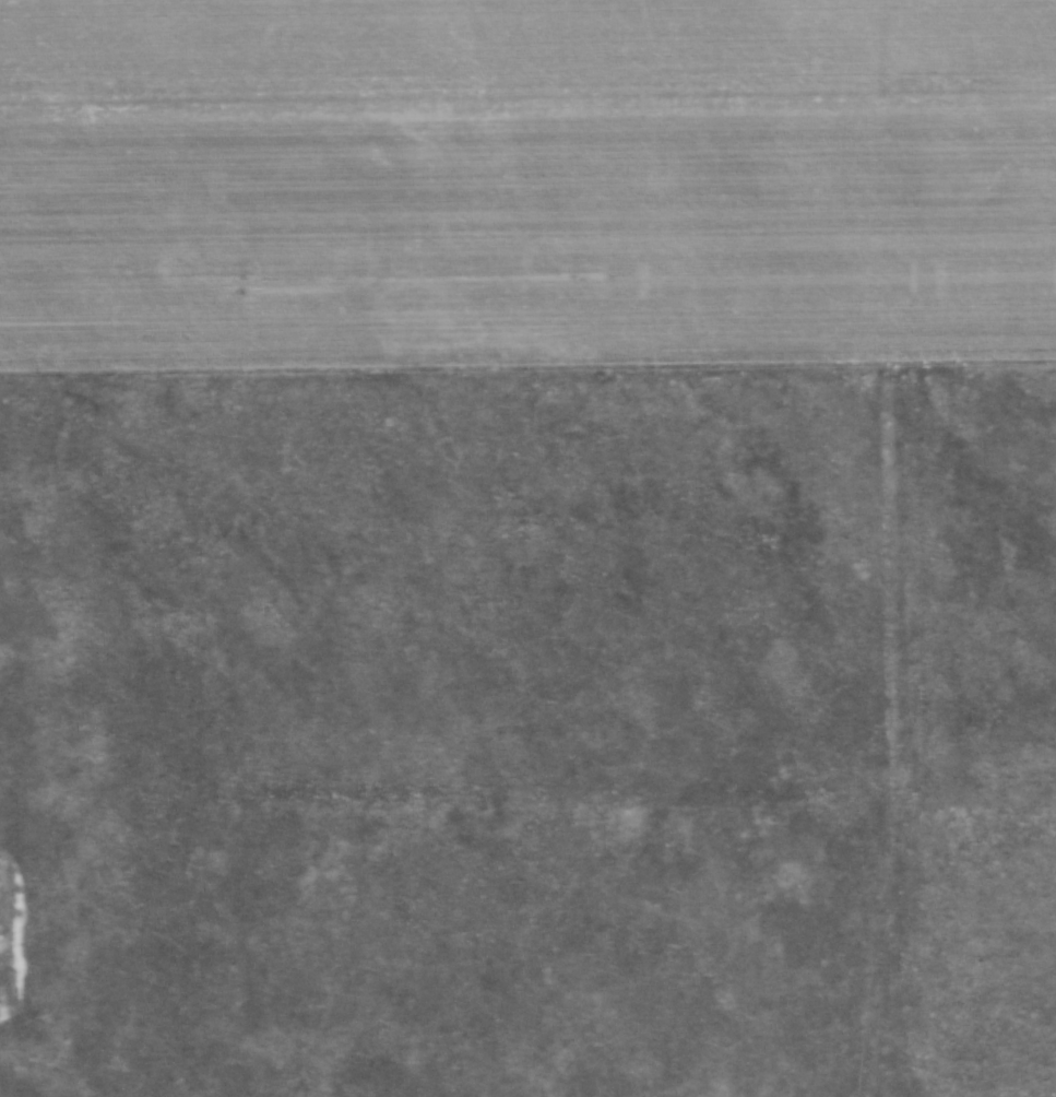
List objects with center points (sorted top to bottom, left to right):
crop: (524, 184)

